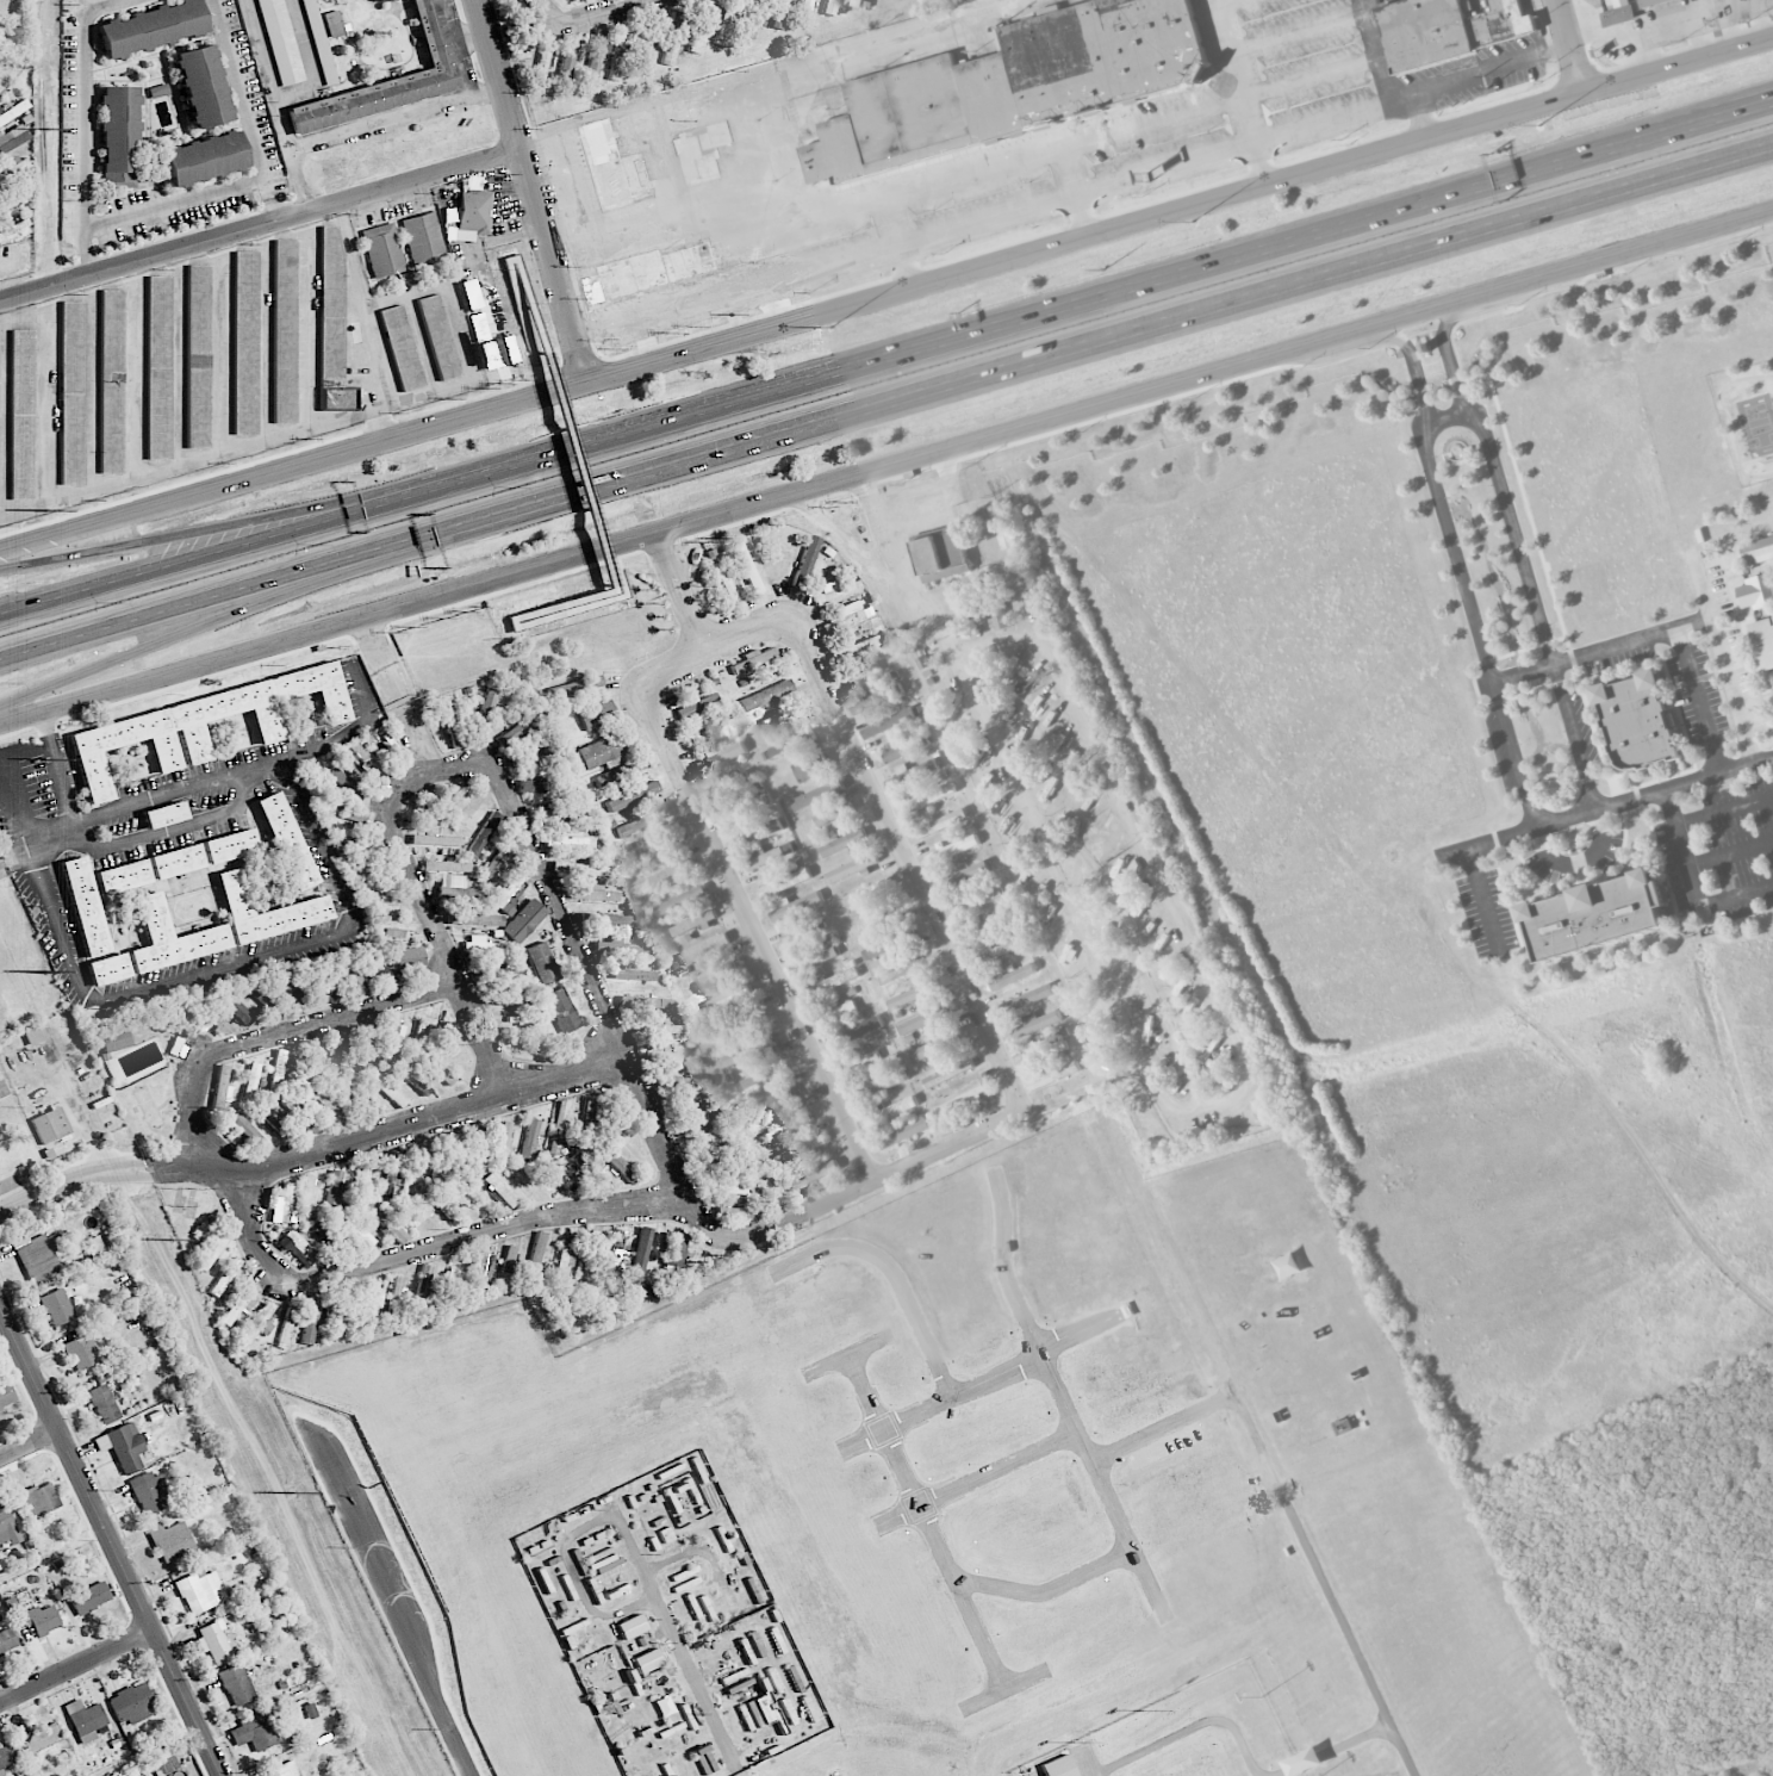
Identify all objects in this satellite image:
building: (572, 0)
road: (1215, 2)
building: (1649, 2)
building: (829, 7)
building: (805, 11)
building: (778, 13)
building: (1618, 15)
road: (589, 17)
road: (447, 18)
building: (749, 18)
building: (726, 21)
building: (332, 23)
building: (151, 27)
building: (1448, 29)
road: (1290, 33)
building: (685, 39)
building: (280, 42)
building: (318, 42)
road: (1572, 45)
road: (456, 50)
building: (597, 54)
building: (618, 54)
building: (545, 56)
building: (568, 57)
road: (1233, 66)
road: (500, 74)
road: (268, 75)
building: (386, 81)
road: (1305, 82)
building: (1018, 85)
building: (199, 86)
road: (763, 92)
road: (242, 99)
road: (85, 111)
road: (1421, 114)
road: (1690, 117)
power tower: (50, 128)
road: (367, 128)
building: (119, 136)
building: (12, 139)
road: (1765, 147)
road: (1237, 148)
road: (1765, 148)
building: (201, 157)
road: (1259, 163)
building: (13, 167)
road: (995, 168)
road: (665, 170)
road: (1070, 170)
building: (12, 195)
road: (175, 203)
road: (274, 210)
road: (1083, 213)
building: (473, 215)
road: (892, 219)
road: (261, 224)
building: (424, 240)
road: (263, 241)
road: (1057, 243)
building: (382, 249)
road: (596, 255)
road: (88, 263)
road: (907, 263)
road: (555, 265)
road: (776, 274)
road: (1158, 277)
road: (516, 279)
building: (469, 294)
road: (776, 299)
building: (332, 323)
road: (307, 328)
building: (285, 331)
road: (1136, 331)
road: (645, 334)
building: (438, 337)
road: (266, 340)
building: (245, 343)
building: (400, 348)
road: (223, 352)
building: (198, 355)
road: (180, 364)
building: (158, 366)
road: (137, 377)
building: (112, 383)
road: (92, 389)
building: (71, 392)
road: (46, 402)
building: (21, 412)
road: (2, 415)
road: (1447, 416)
road: (381, 422)
road: (189, 461)
road: (885, 462)
road: (584, 466)
road: (170, 499)
power tower: (48, 510)
road: (273, 515)
road: (273, 535)
road: (1517, 544)
building: (1758, 549)
building: (941, 555)
road: (894, 557)
road: (1455, 558)
building: (805, 561)
building: (747, 567)
building: (724, 580)
road: (256, 583)
road: (682, 590)
building: (835, 591)
building: (1756, 591)
road: (255, 604)
building: (996, 610)
road: (548, 617)
building: (841, 621)
building: (1763, 642)
road: (717, 647)
building: (854, 648)
road: (1601, 651)
building: (753, 659)
road: (1723, 659)
building: (861, 673)
building: (988, 676)
building: (576, 687)
road: (396, 691)
road: (363, 693)
building: (876, 698)
road: (1699, 701)
building: (696, 704)
building: (597, 714)
building: (1636, 721)
building: (454, 722)
building: (194, 726)
building: (521, 726)
building: (711, 731)
building: (872, 732)
road: (328, 741)
building: (792, 743)
building: (601, 753)
building: (718, 757)
power tower: (48, 758)
building: (533, 760)
building: (367, 762)
road: (57, 763)
building: (811, 766)
road: (263, 770)
building: (621, 770)
road: (502, 774)
building: (917, 777)
road: (10, 780)
building: (344, 781)
building: (728, 784)
building: (546, 785)
building: (816, 794)
building: (632, 796)
road: (158, 797)
building: (929, 797)
building: (744, 808)
road: (1605, 808)
road: (1724, 812)
building: (553, 813)
building: (347, 814)
building: (833, 814)
building: (163, 815)
building: (642, 822)
building: (941, 824)
road: (172, 832)
building: (484, 833)
building: (755, 833)
building: (434, 839)
building: (286, 840)
building: (570, 840)
building: (842, 843)
building: (360, 844)
building: (661, 844)
building: (230, 846)
road: (43, 847)
building: (952, 850)
road: (1730, 853)
building: (767, 856)
building: (176, 861)
building: (498, 861)
building: (446, 865)
building: (577, 868)
building: (851, 869)
road: (913, 870)
building: (672, 874)
building: (123, 876)
building: (963, 876)
building: (512, 883)
building: (784, 883)
road: (1693, 884)
building: (455, 887)
building: (593, 894)
building: (384, 899)
building: (975, 900)
building: (680, 901)
building: (877, 902)
road: (1483, 902)
building: (85, 906)
building: (796, 907)
building: (267, 911)
building: (1595, 915)
building: (475, 919)
building: (608, 919)
building: (692, 923)
building: (985, 926)
building: (394, 927)
building: (800, 931)
building: (172, 936)
road: (758, 938)
building: (480, 944)
building: (620, 946)
building: (884, 946)
building: (703, 949)
building: (997, 951)
road: (1132, 951)
building: (408, 957)
road: (236, 961)
building: (542, 963)
building: (108, 968)
building: (379, 969)
building: (900, 969)
power tower: (48, 970)
building: (500, 973)
building: (718, 973)
building: (634, 975)
building: (349, 976)
building: (1012, 976)
building: (319, 981)
building: (833, 982)
building: (287, 988)
building: (260, 994)
building: (913, 994)
building: (517, 996)
building: (728, 998)
building: (1026, 999)
building: (646, 1002)
building: (270, 1006)
building: (828, 1006)
building: (236, 1007)
building: (561, 1010)
building: (838, 1012)
building: (925, 1019)
building: (214, 1020)
building: (735, 1025)
building: (1035, 1025)
building: (660, 1027)
building: (858, 1032)
road: (278, 1033)
building: (35, 1035)
building: (390, 1039)
building: (116, 1041)
building: (938, 1044)
building: (362, 1047)
building: (178, 1048)
building: (1047, 1048)
building: (753, 1052)
building: (336, 1054)
building: (660, 1054)
building: (860, 1062)
building: (1052, 1062)
building: (304, 1066)
building: (436, 1068)
building: (276, 1073)
building: (947, 1073)
building: (767, 1074)
building: (1053, 1076)
building: (412, 1078)
building: (250, 1080)
building: (683, 1082)
building: (881, 1085)
building: (219, 1087)
building: (388, 1091)
road: (1237, 1094)
building: (962, 1098)
building: (779, 1101)
building: (328, 1105)
building: (695, 1110)
building: (892, 1111)
building: (300, 1113)
building: (272, 1119)
building: (601, 1119)
building: (50, 1125)
building: (558, 1126)
building: (788, 1126)
building: (243, 1129)
road: (391, 1131)
building: (903, 1134)
building: (530, 1137)
building: (707, 1137)
building: (502, 1142)
building: (473, 1149)
building: (798, 1150)
building: (446, 1157)
building: (618, 1165)
building: (416, 1168)
building: (586, 1169)
road: (901, 1169)
building: (388, 1174)
building: (554, 1174)
building: (813, 1175)
building: (361, 1180)
road: (71, 1181)
building: (335, 1186)
building: (728, 1188)
building: (499, 1191)
building: (305, 1192)
building: (285, 1201)
building: (441, 1207)
building: (736, 1213)
building: (385, 1222)
building: (591, 1242)
building: (297, 1246)
building: (93, 1247)
building: (616, 1247)
building: (673, 1248)
building: (211, 1253)
road: (417, 1253)
building: (639, 1253)
building: (536, 1254)
building: (565, 1255)
building: (38, 1256)
building: (509, 1259)
building: (481, 1268)
road: (894, 1274)
building: (224, 1277)
building: (452, 1284)
building: (423, 1285)
building: (397, 1288)
building: (340, 1299)
building: (369, 1302)
building: (238, 1304)
building: (57, 1306)
building: (288, 1315)
building: (310, 1319)
building: (259, 1323)
road: (1084, 1330)
building: (81, 1352)
road: (846, 1355)
building: (6, 1395)
road: (1063, 1399)
building: (104, 1403)
road: (941, 1404)
road: (1164, 1428)
road: (31, 1446)
building: (123, 1446)
road: (977, 1478)
power tower: (294, 1491)
building: (149, 1492)
building: (39, 1499)
road: (927, 1521)
building: (7, 1527)
road: (112, 1538)
building: (170, 1540)
road: (1325, 1584)
building: (200, 1589)
road: (1047, 1590)
building: (89, 1597)
building: (280, 1610)
building: (41, 1619)
building: (630, 1626)
building: (7, 1640)
building: (214, 1641)
building: (647, 1660)
road: (77, 1666)
building: (1, 1671)
building: (236, 1684)
road: (1004, 1689)
building: (132, 1702)
building: (664, 1706)
building: (310, 1709)
building: (85, 1720)
building: (254, 1732)
building: (41, 1737)
building: (6, 1757)
building: (168, 1762)
building: (1057, 1766)
building: (284, 1770)

